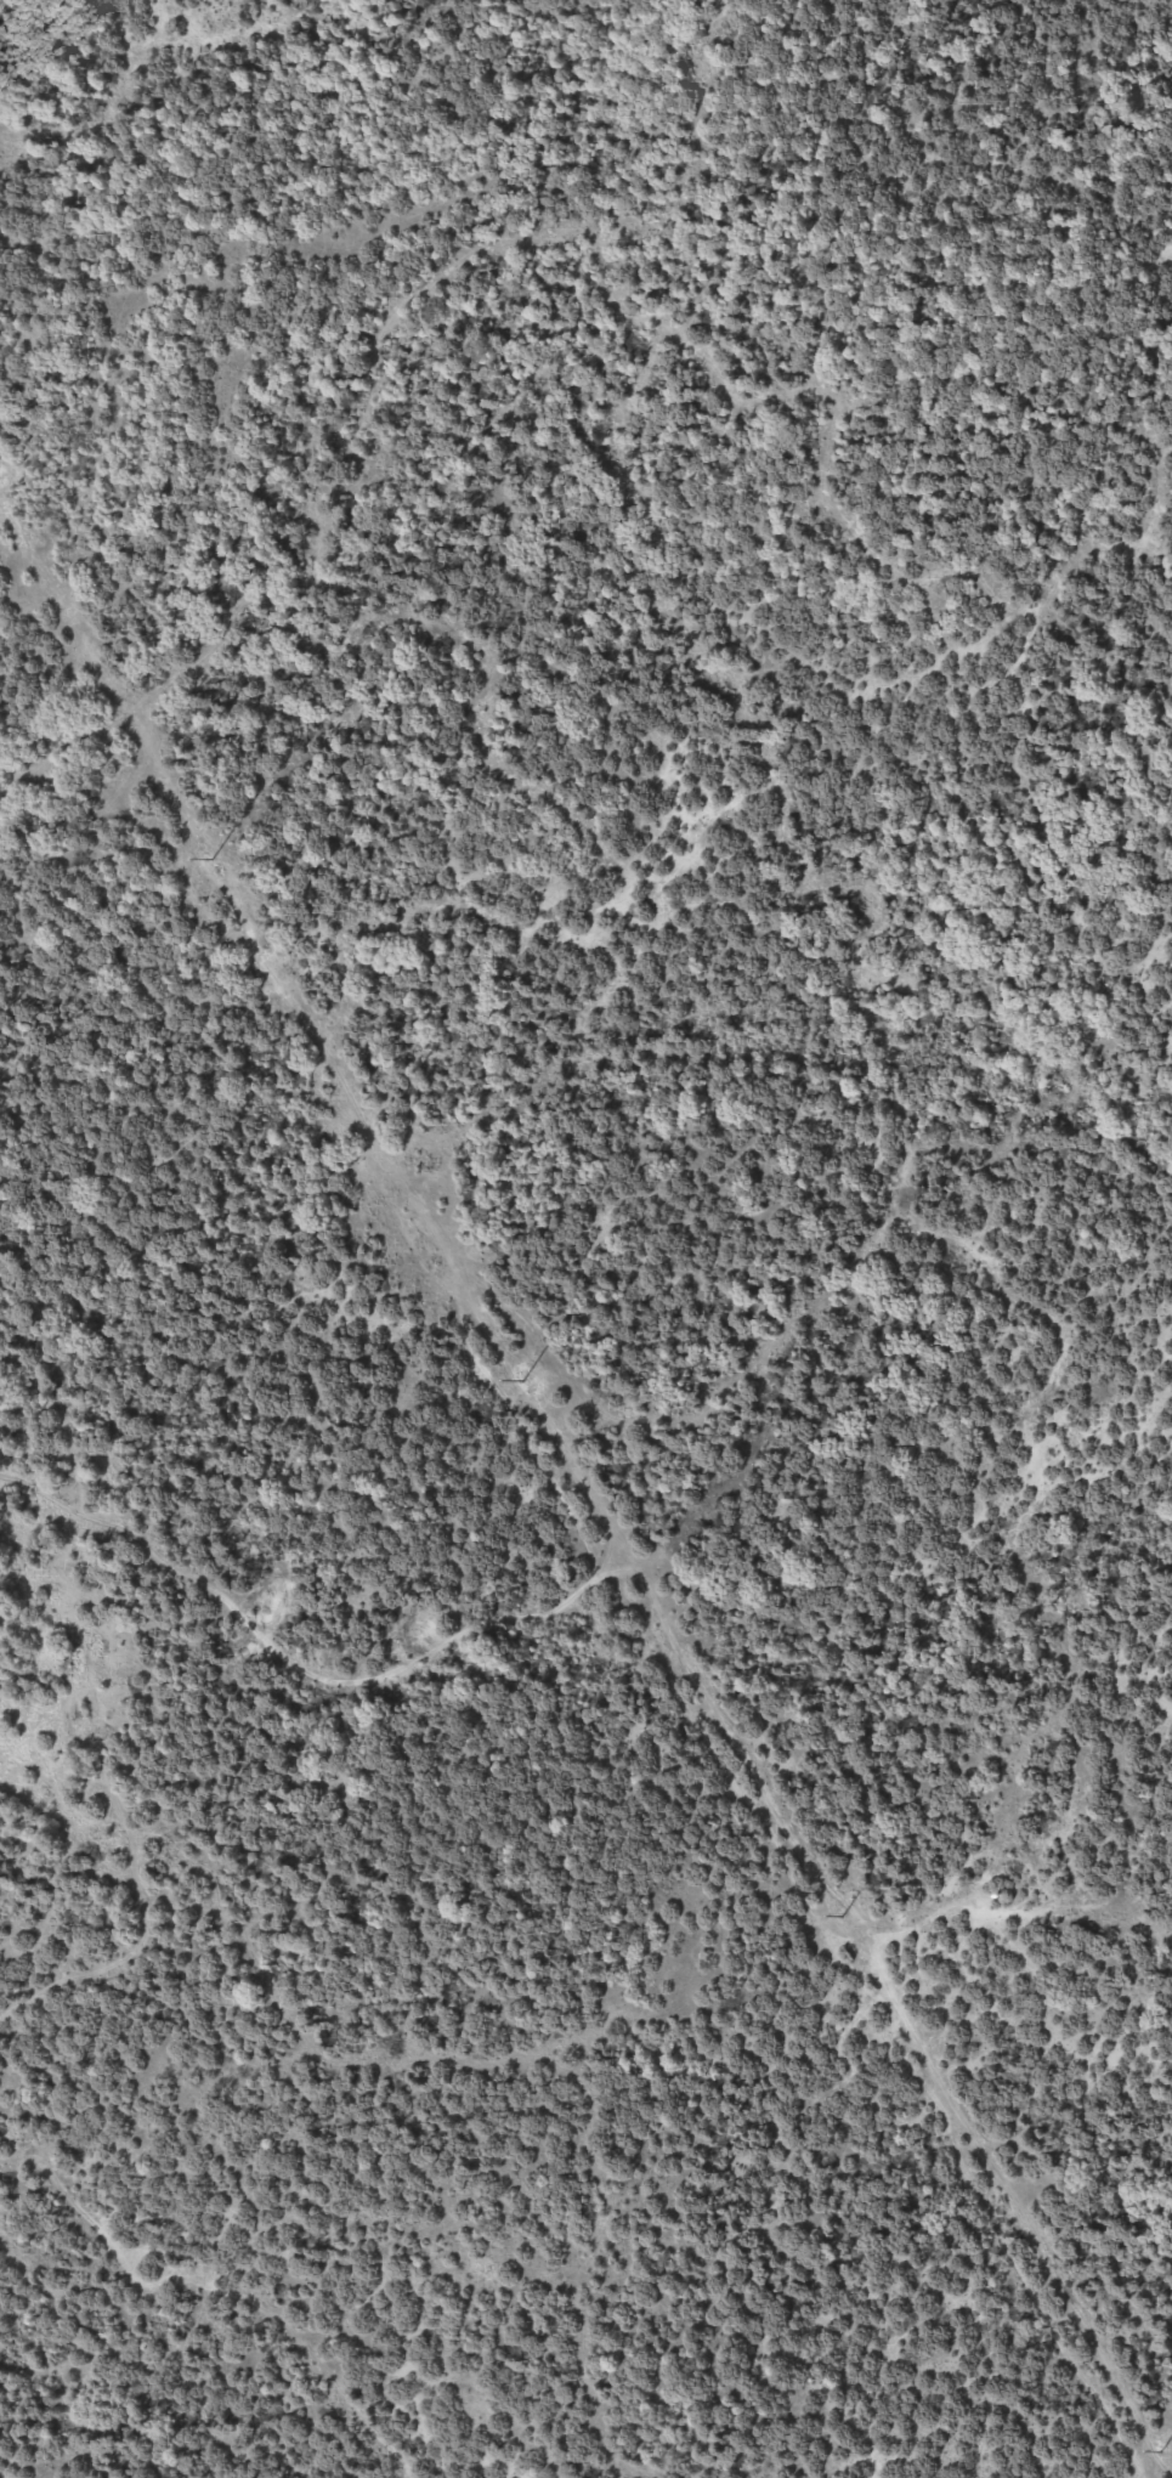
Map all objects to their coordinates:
power tower: (213, 858)
power tower: (523, 1380)
power tower: (842, 1916)
power tower: (1161, 2450)

